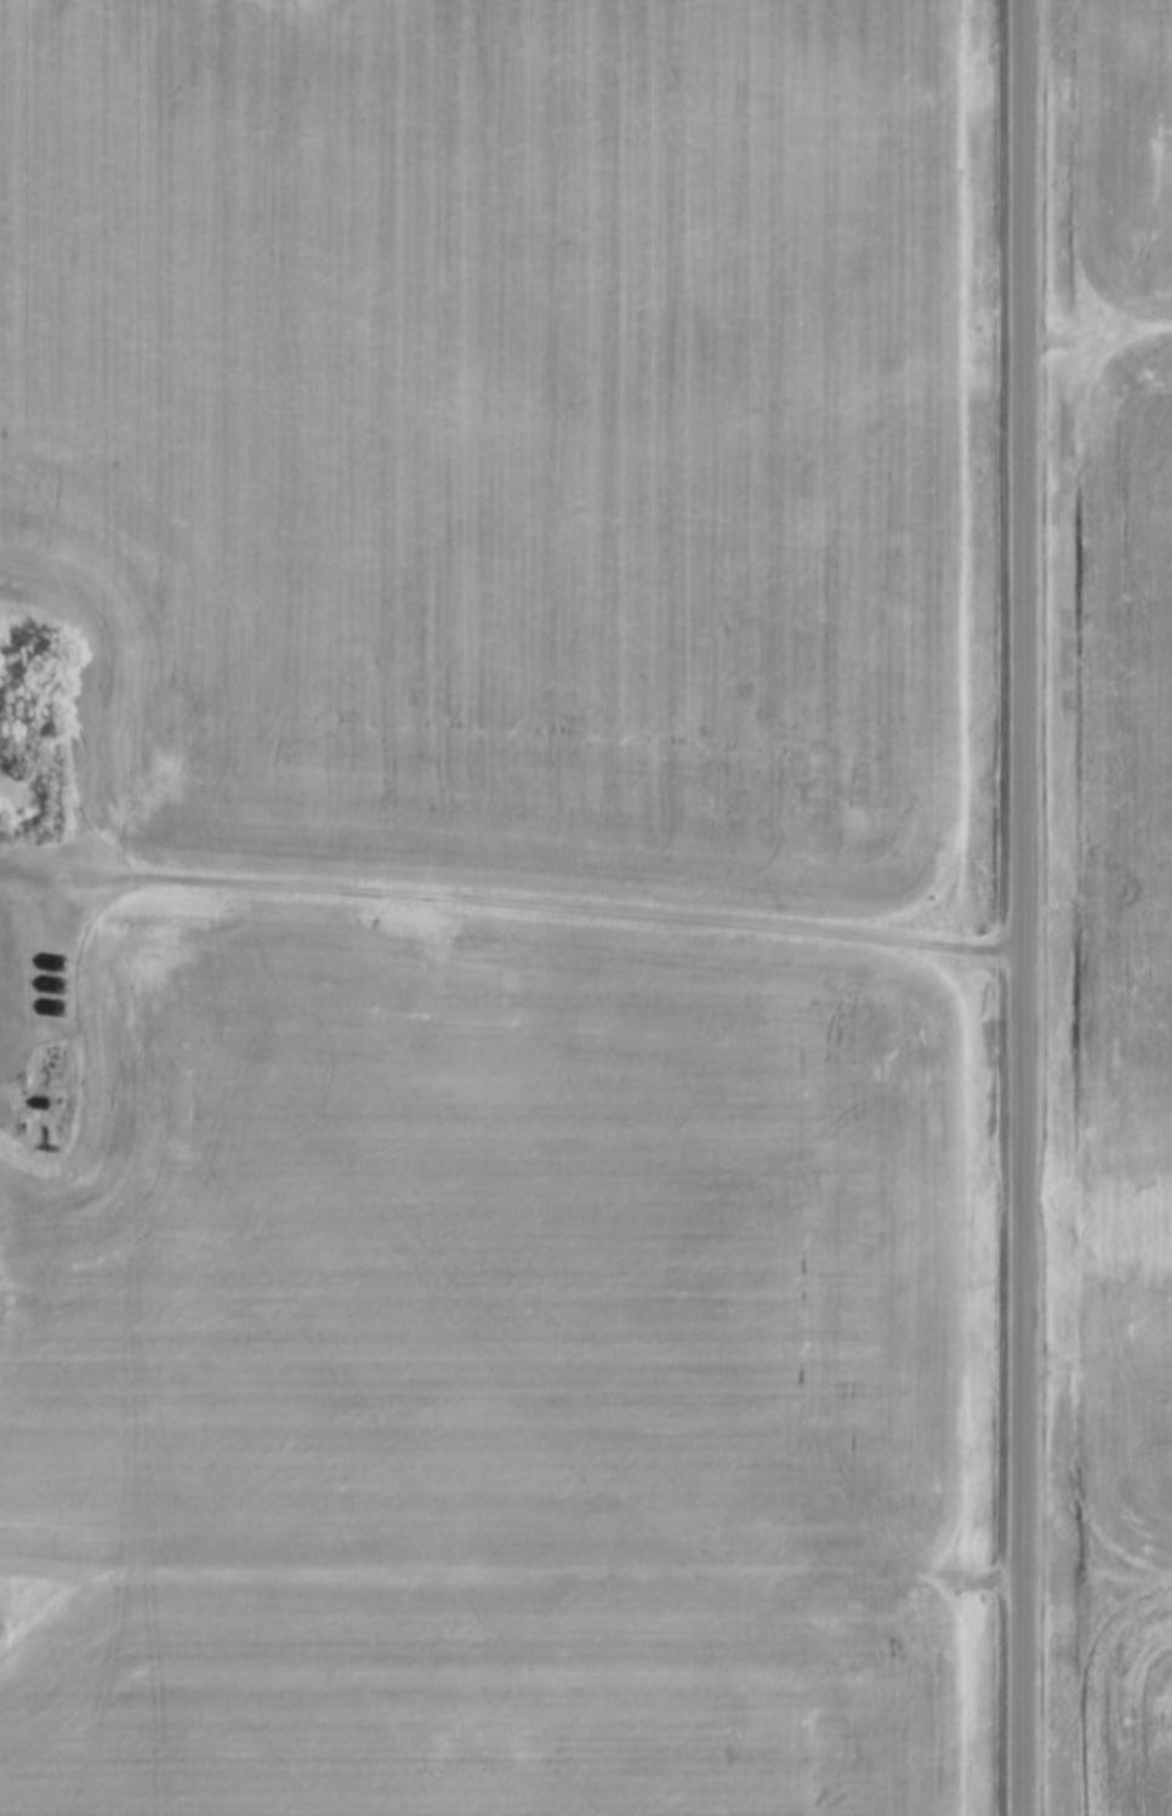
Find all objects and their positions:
road: (511, 904)
road: (1023, 907)
building: (58, 964)
building: (57, 987)
building: (58, 1009)
building: (50, 1105)

